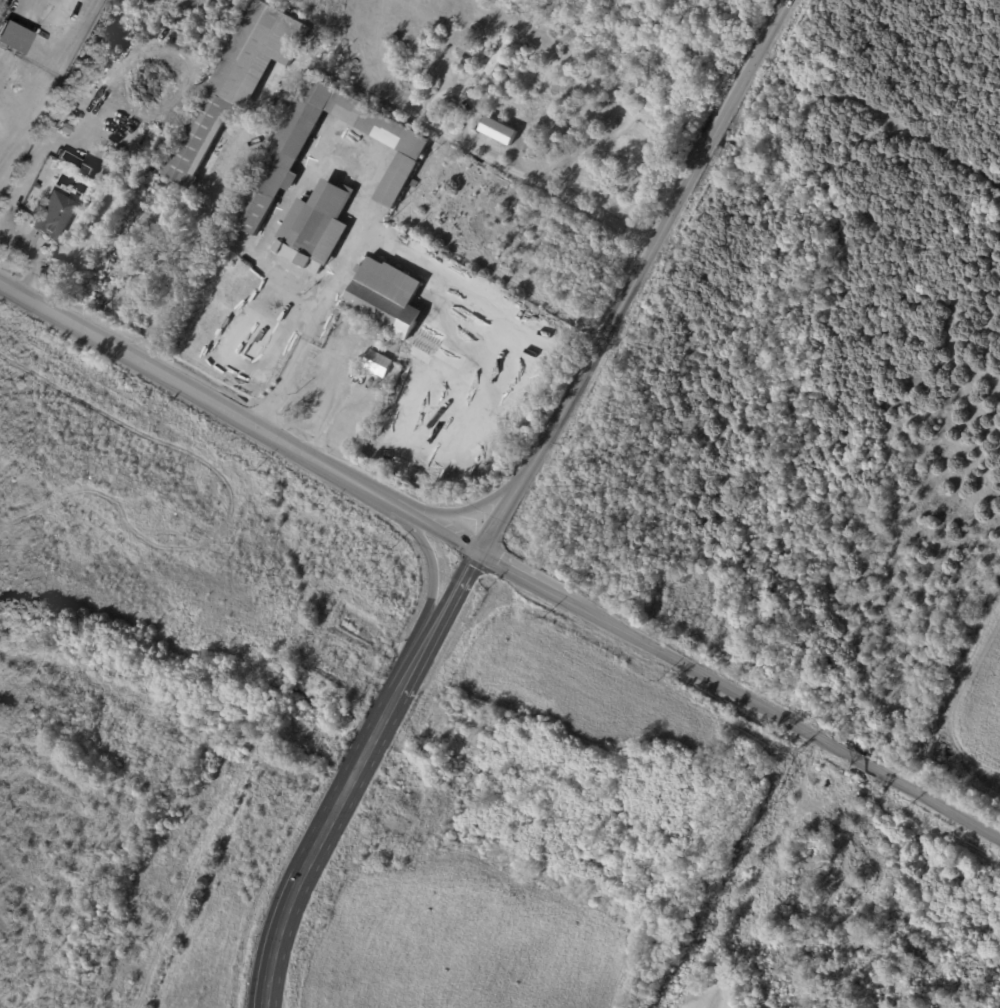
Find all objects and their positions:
building: (12, 37)
building: (513, 37)
building: (498, 56)
building: (503, 65)
building: (234, 86)
building: (65, 129)
building: (497, 130)
building: (116, 149)
road: (492, 156)
building: (278, 160)
road: (31, 163)
building: (75, 163)
building: (49, 165)
building: (413, 184)
building: (37, 185)
road: (293, 193)
building: (54, 217)
building: (314, 228)
building: (141, 246)
road: (193, 250)
road: (634, 276)
building: (384, 299)
road: (488, 316)
road: (310, 330)
building: (378, 344)
building: (376, 365)
road: (237, 416)
road: (432, 568)
road: (738, 692)
crop: (981, 697)
road: (355, 773)

